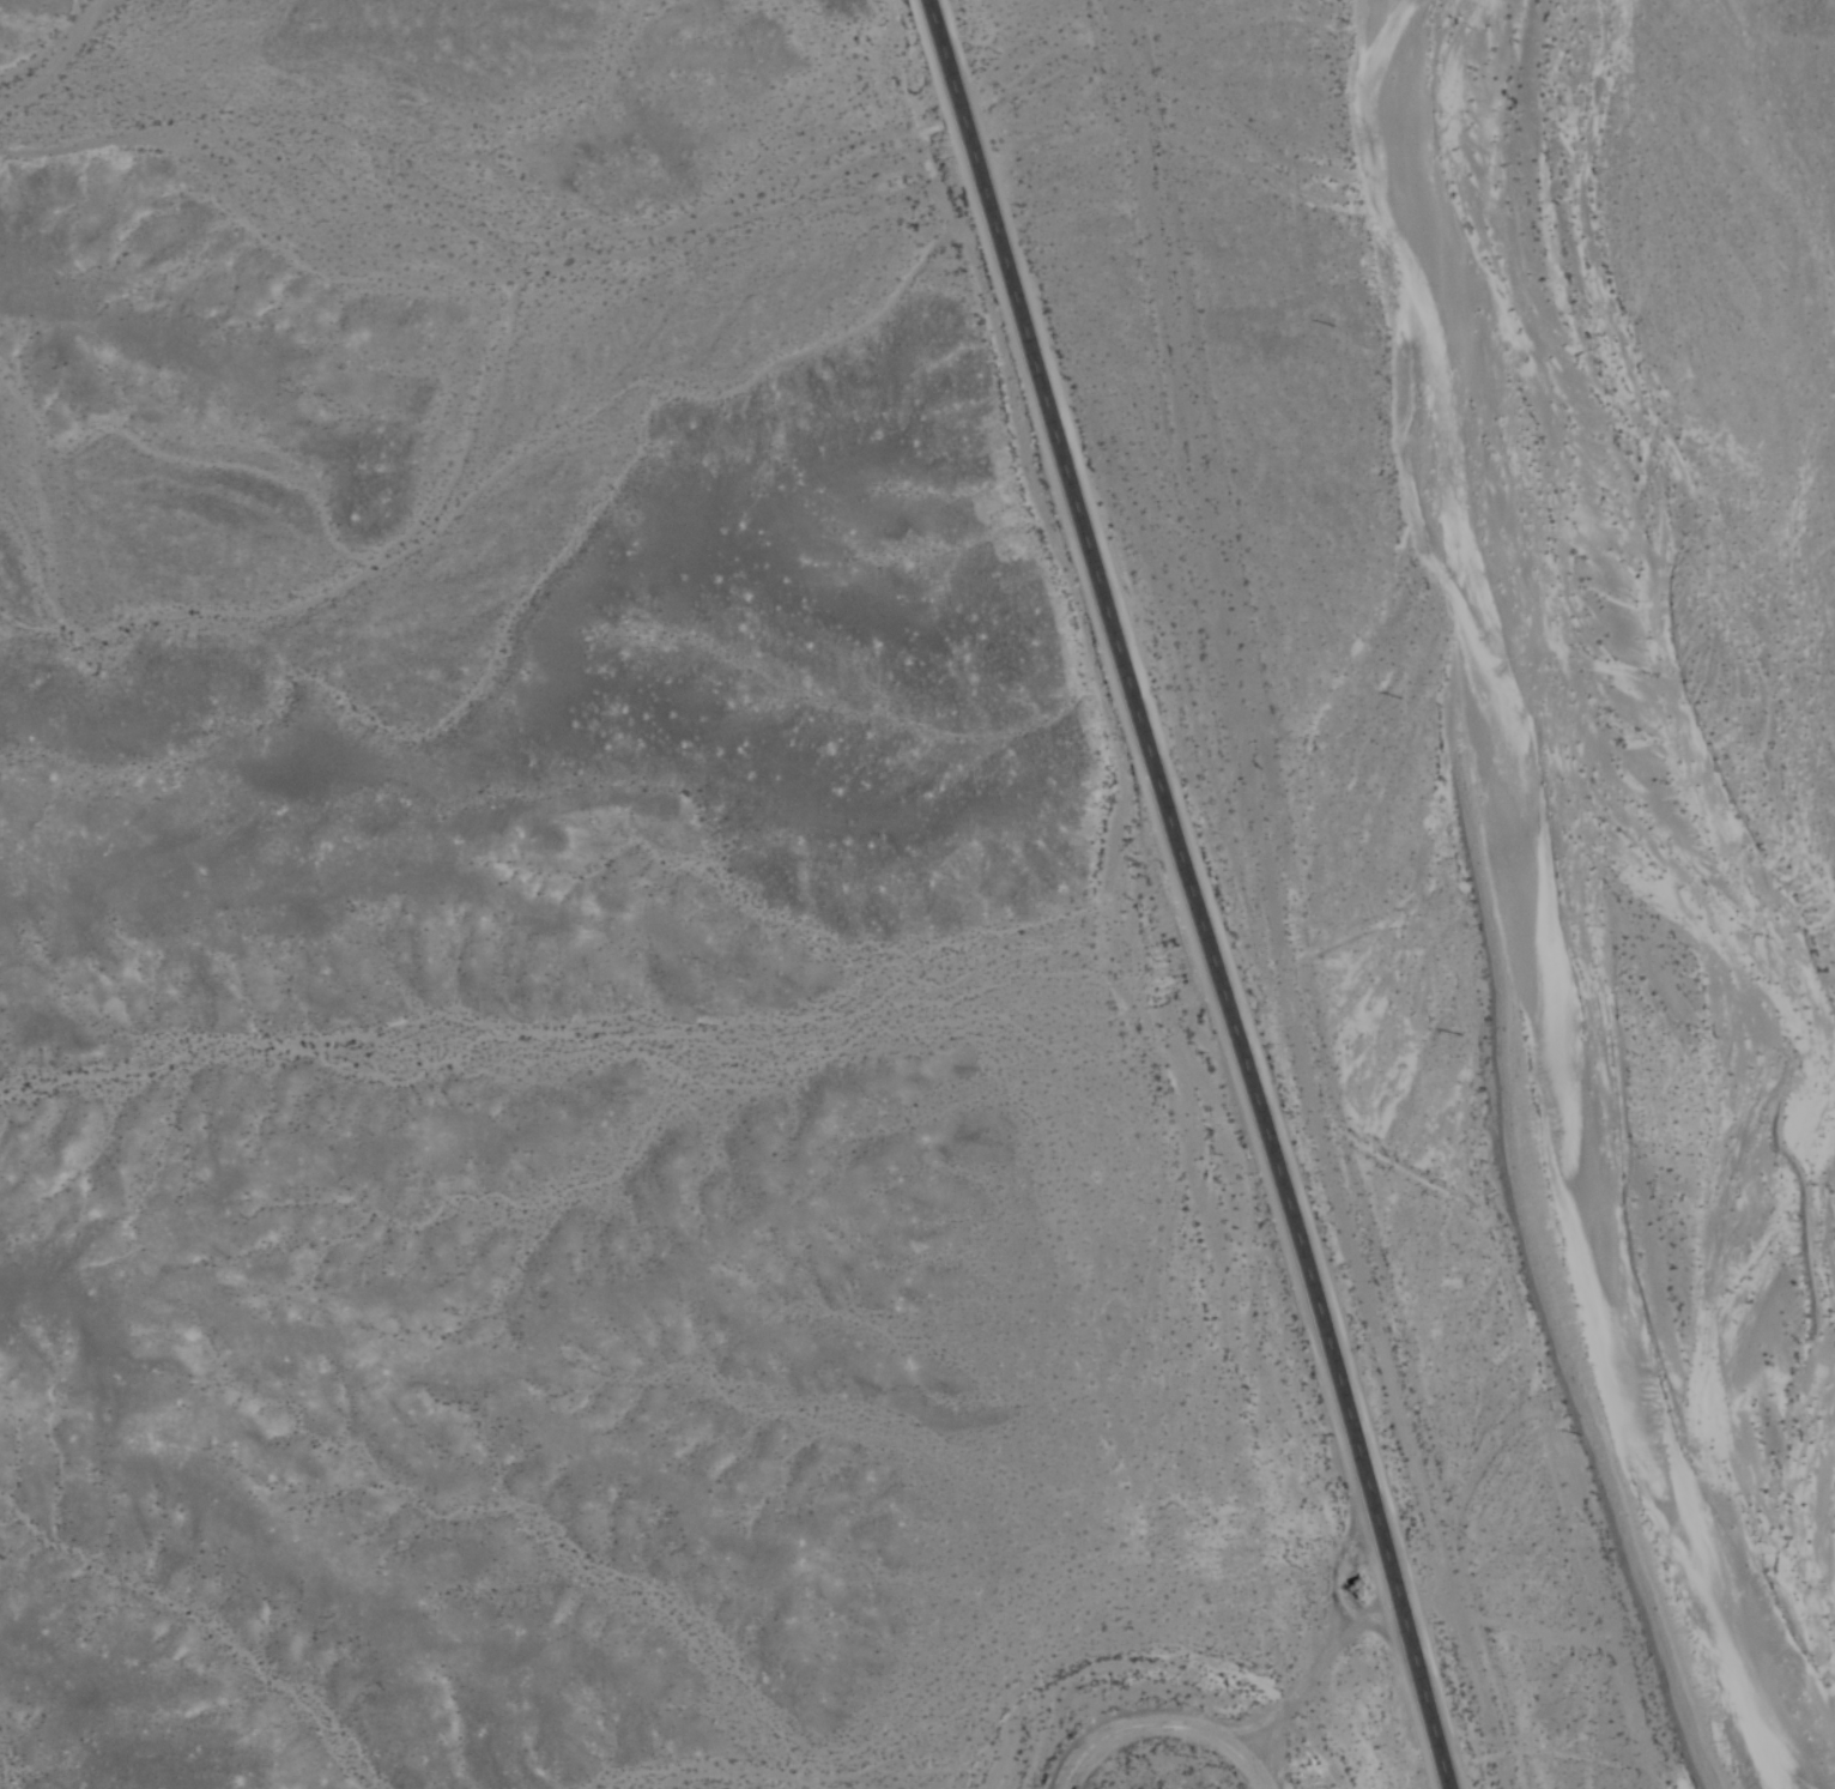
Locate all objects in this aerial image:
river: (1710, 886)
road: (1193, 894)
quarry: (1182, 1723)

